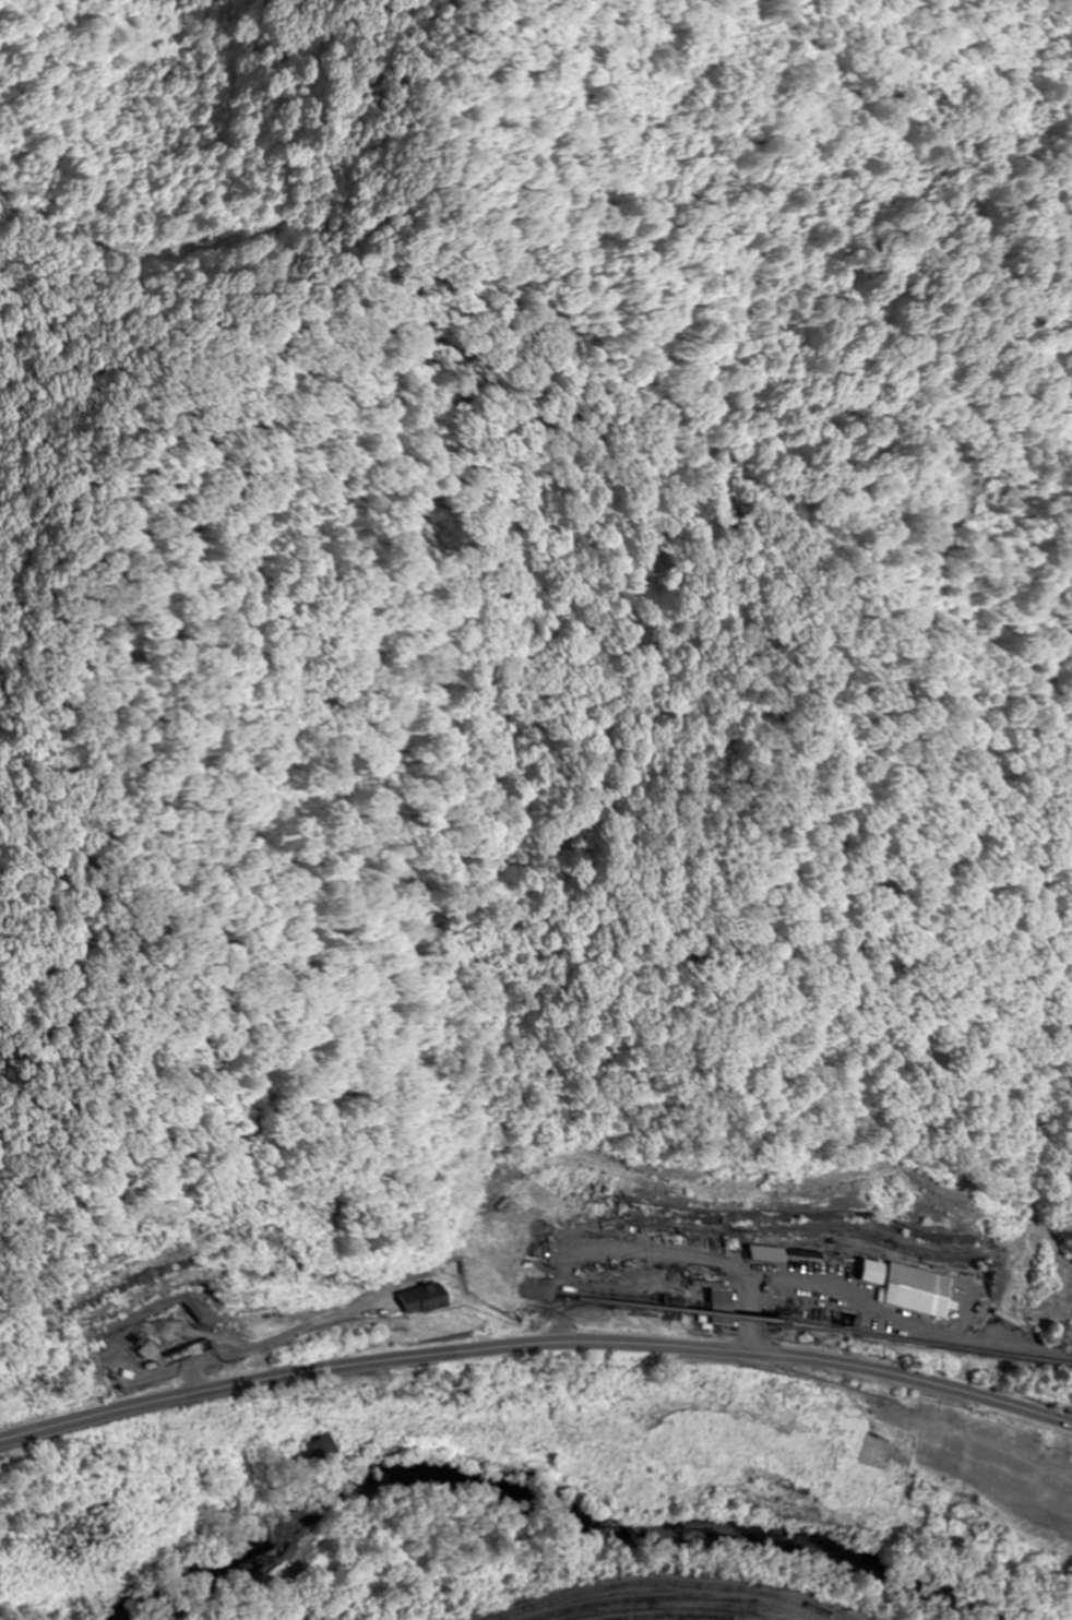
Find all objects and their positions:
building: (415, 1301)
road: (535, 1341)
building: (851, 1410)
building: (878, 1417)
building: (934, 1439)
river: (553, 1504)
railway: (666, 1583)
railway: (686, 1598)
railway: (681, 1608)
railway: (680, 1618)

